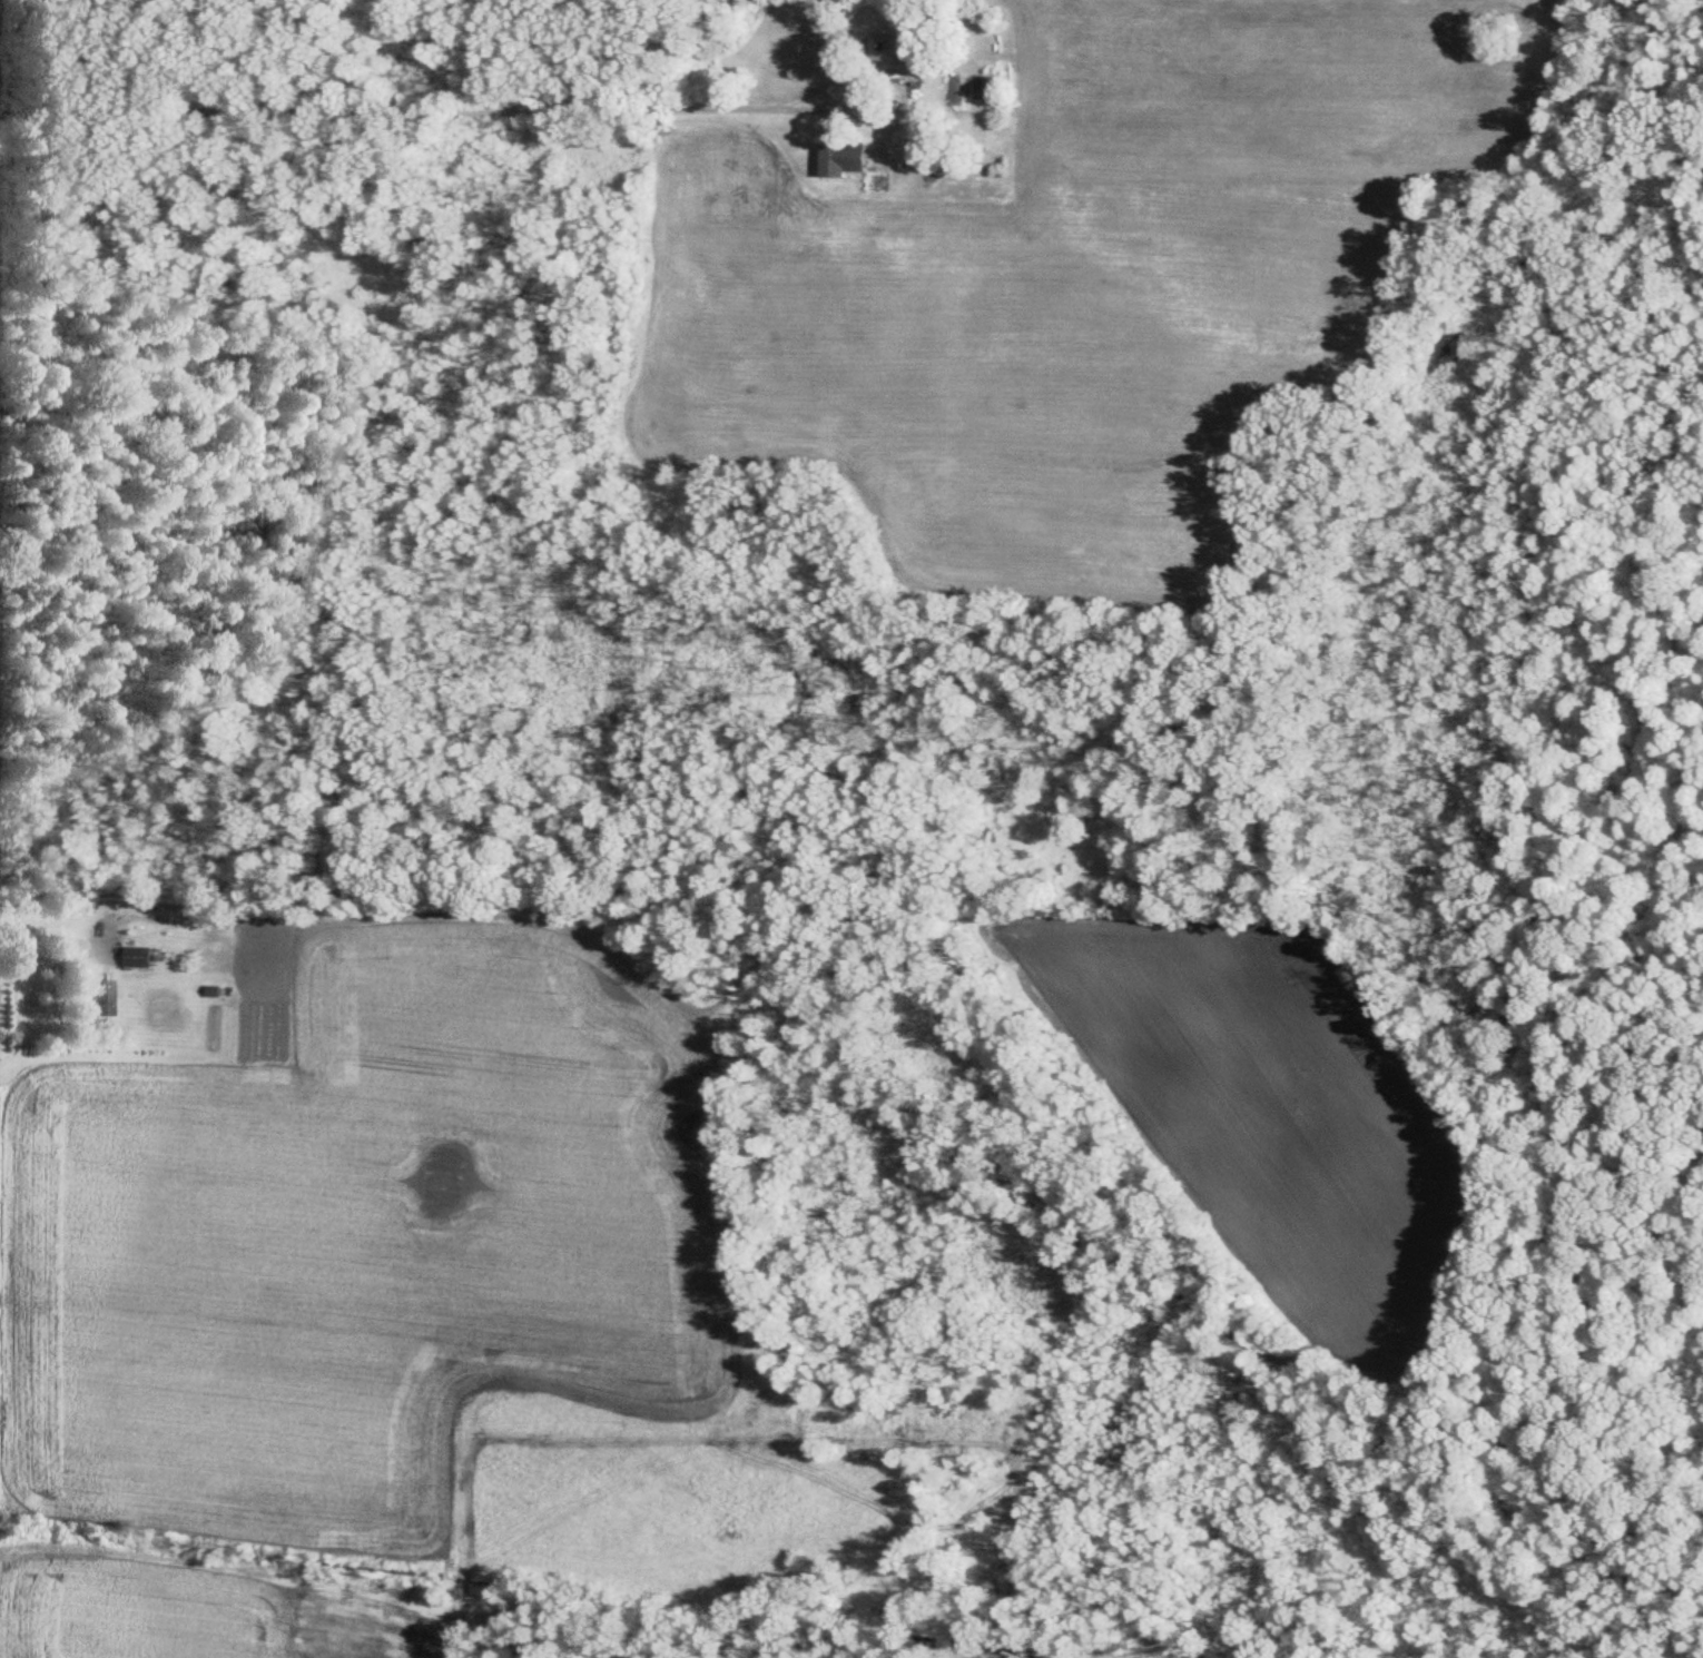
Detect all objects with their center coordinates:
building: (889, 49)
road: (411, 110)
building: (833, 161)
road: (53, 953)
building: (139, 956)
building: (96, 997)

